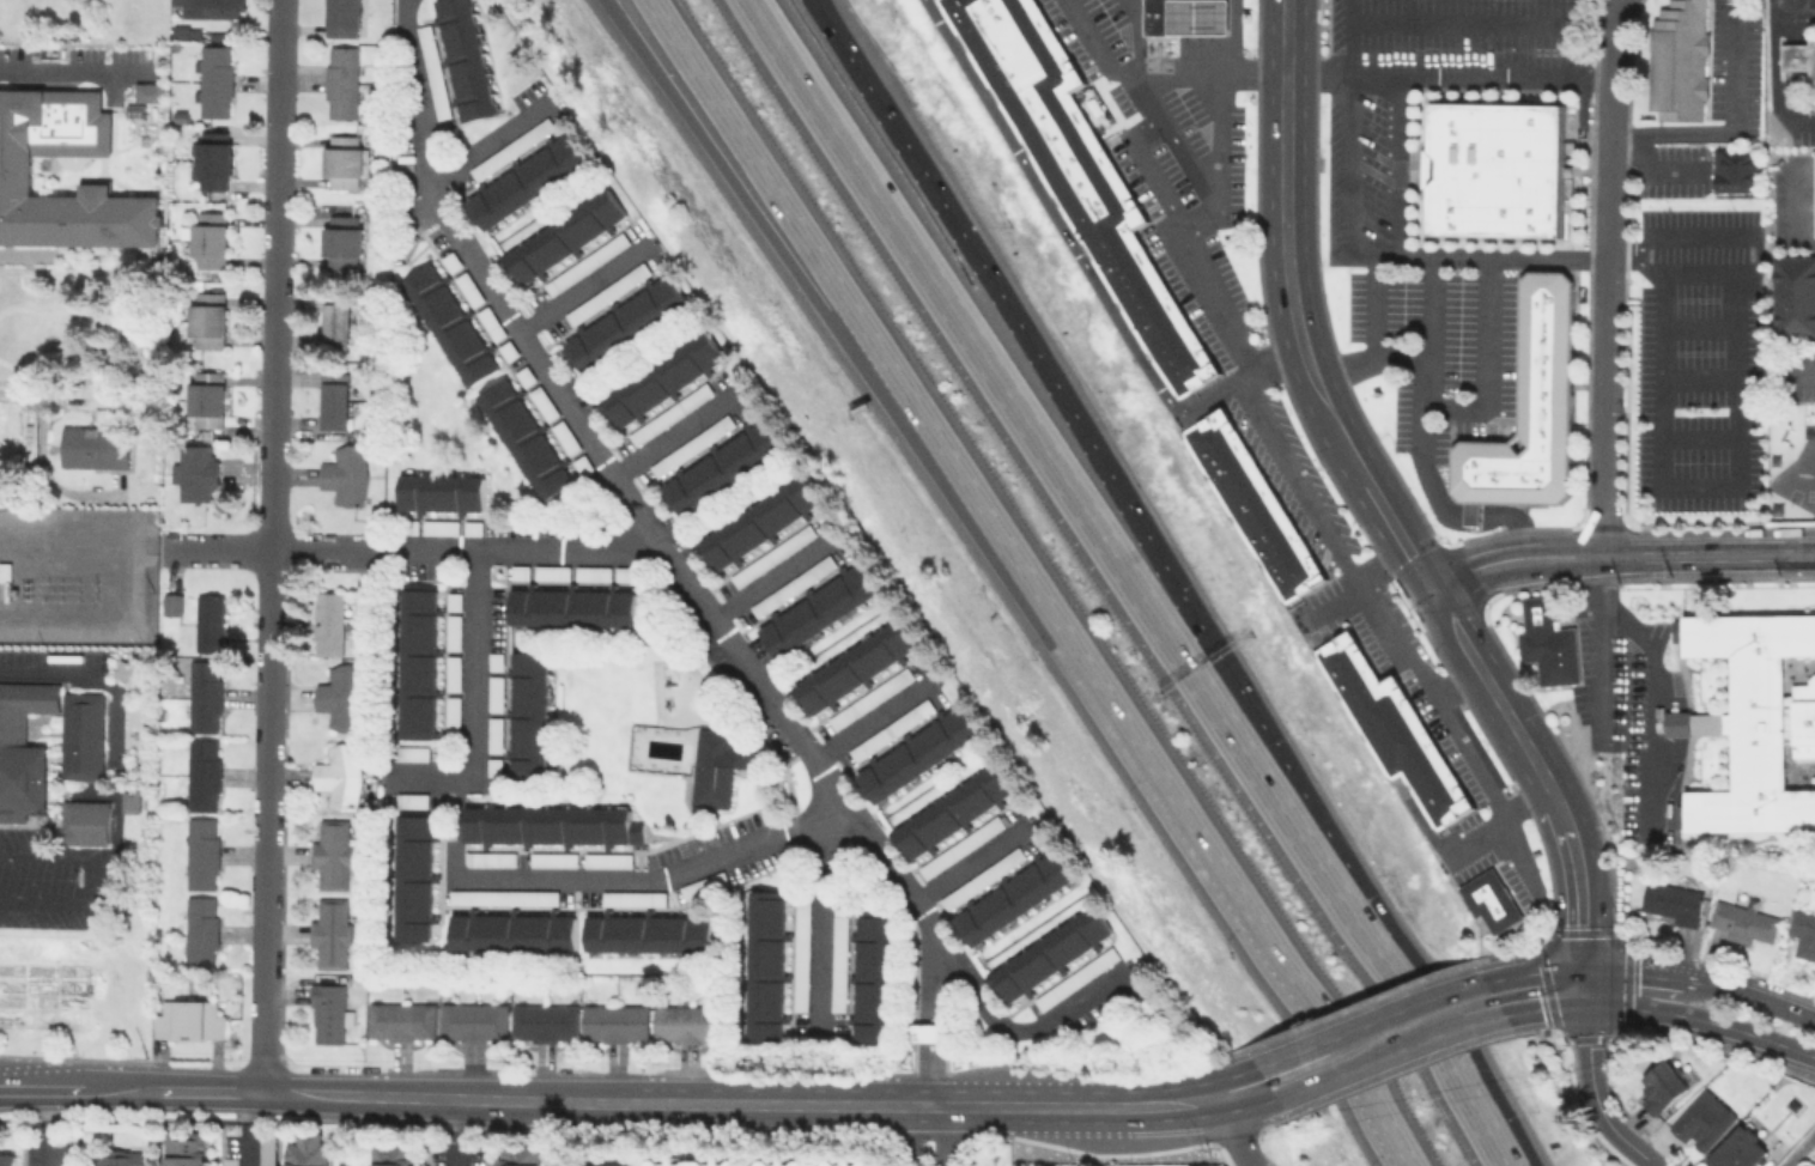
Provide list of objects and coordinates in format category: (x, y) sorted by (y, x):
road: (1793, 5)
building: (212, 7)
building: (1157, 16)
building: (1198, 16)
gas station: (1198, 16)
building: (342, 18)
road: (1463, 22)
building: (180, 30)
road: (1230, 37)
road: (1349, 37)
road: (1134, 40)
road: (1097, 48)
building: (1798, 57)
building: (465, 59)
building: (1677, 59)
road: (78, 69)
building: (431, 71)
road: (1772, 74)
road: (1468, 77)
building: (213, 79)
building: (340, 80)
building: (147, 90)
road: (1729, 122)
road: (893, 136)
road: (1215, 140)
road: (479, 147)
building: (511, 148)
road: (735, 150)
road: (752, 150)
building: (212, 159)
building: (344, 162)
road: (1657, 166)
building: (16, 168)
building: (1497, 169)
building: (1078, 170)
building: (1734, 170)
road: (1152, 174)
road: (1198, 180)
building: (526, 181)
building: (1814, 194)
building: (564, 235)
road: (1712, 237)
building: (208, 238)
building: (341, 241)
road: (1370, 253)
road: (1410, 255)
building: (449, 261)
building: (585, 262)
road: (1427, 273)
road: (275, 274)
road: (1607, 277)
building: (467, 287)
building: (606, 292)
road: (582, 294)
building: (1793, 294)
road: (1373, 305)
road: (1293, 308)
building: (206, 318)
building: (336, 321)
building: (624, 322)
building: (449, 323)
building: (490, 323)
road: (1699, 327)
road: (957, 338)
building: (506, 350)
parking lot: (1698, 359)
road: (1487, 366)
building: (523, 375)
road: (1798, 376)
building: (661, 378)
road: (1699, 378)
building: (206, 399)
building: (333, 400)
building: (541, 402)
building: (1528, 407)
building: (667, 413)
building: (563, 437)
road: (1699, 438)
building: (523, 439)
road: (666, 439)
road: (1419, 441)
building: (93, 445)
building: (688, 445)
road: (38, 461)
building: (582, 464)
building: (722, 464)
building: (194, 470)
building: (345, 473)
road: (1080, 475)
road: (1707, 485)
building: (441, 492)
road: (1304, 498)
building: (1251, 504)
road: (1481, 516)
building: (759, 520)
building: (408, 527)
building: (439, 527)
building: (473, 528)
road: (1516, 536)
road: (225, 548)
road: (468, 551)
road: (1707, 553)
building: (771, 554)
road: (1512, 559)
building: (518, 570)
building: (5, 571)
building: (551, 571)
building: (591, 572)
building: (624, 572)
power substation: (78, 575)
road: (767, 576)
traffic signals: (1428, 584)
building: (791, 585)
road: (696, 589)
power tower: (97, 590)
building: (453, 600)
building: (171, 603)
building: (571, 607)
building: (818, 609)
building: (208, 620)
building: (327, 621)
building: (453, 631)
building: (1547, 642)
building: (494, 661)
building: (417, 663)
building: (855, 664)
road: (44, 669)
building: (451, 672)
road: (1647, 678)
road: (1455, 681)
building: (494, 693)
building: (205, 694)
road: (1428, 694)
building: (340, 696)
building: (869, 697)
road: (475, 698)
building: (450, 713)
building: (528, 713)
road: (867, 719)
building: (1750, 721)
building: (888, 729)
building: (1392, 729)
road: (1135, 730)
building: (492, 734)
building: (411, 752)
building: (916, 754)
building: (51, 757)
building: (717, 764)
building: (492, 766)
building: (204, 773)
building: (339, 775)
road: (1546, 779)
building: (128, 800)
building: (409, 800)
building: (952, 809)
road: (267, 819)
road: (1497, 820)
building: (546, 824)
road: (456, 827)
building: (959, 846)
building: (202, 852)
building: (332, 852)
road: (48, 855)
building: (488, 858)
building: (551, 858)
building: (607, 860)
road: (964, 866)
building: (413, 877)
road: (657, 877)
building: (981, 877)
building: (702, 885)
building: (502, 895)
building: (1013, 897)
building: (631, 898)
building: (1489, 900)
building: (1671, 900)
road: (1337, 919)
road: (819, 922)
building: (1742, 923)
building: (201, 929)
building: (330, 931)
building: (511, 931)
building: (647, 933)
building: (1802, 933)
building: (1050, 953)
building: (800, 955)
building: (837, 962)
building: (764, 965)
road: (1531, 971)
traffic signals: (1583, 972)
road: (1635, 973)
building: (873, 978)
building: (1075, 978)
road: (1752, 996)
traffic signals: (1584, 1002)
road: (1409, 1006)
road: (1543, 1006)
building: (327, 1012)
road: (922, 1013)
road: (1701, 1018)
building: (189, 1019)
building: (399, 1020)
building: (472, 1021)
building: (544, 1021)
building: (614, 1022)
building: (684, 1022)
road: (939, 1022)
road: (1453, 1027)
building: (927, 1031)
road: (1297, 1051)
road: (1339, 1070)
road: (1237, 1081)
building: (1663, 1083)
road: (74, 1088)
road: (207, 1089)
road: (441, 1095)
road: (1246, 1097)
road: (1595, 1097)
road: (669, 1101)
road: (907, 1103)
road: (1158, 1104)
building: (1701, 1119)
road: (247, 1125)
road: (49, 1126)
road: (454, 1131)
road: (1234, 1131)
road: (916, 1135)
road: (941, 1135)
building: (184, 1148)
building: (266, 1148)
building: (306, 1149)
building: (1736, 1149)
road: (1798, 1149)
building: (391, 1154)
building: (518, 1154)
building: (117, 1158)
building: (7, 1159)
building: (690, 1160)
building: (779, 1160)
building: (844, 1160)
building: (229, 1161)
building: (63, 1165)

